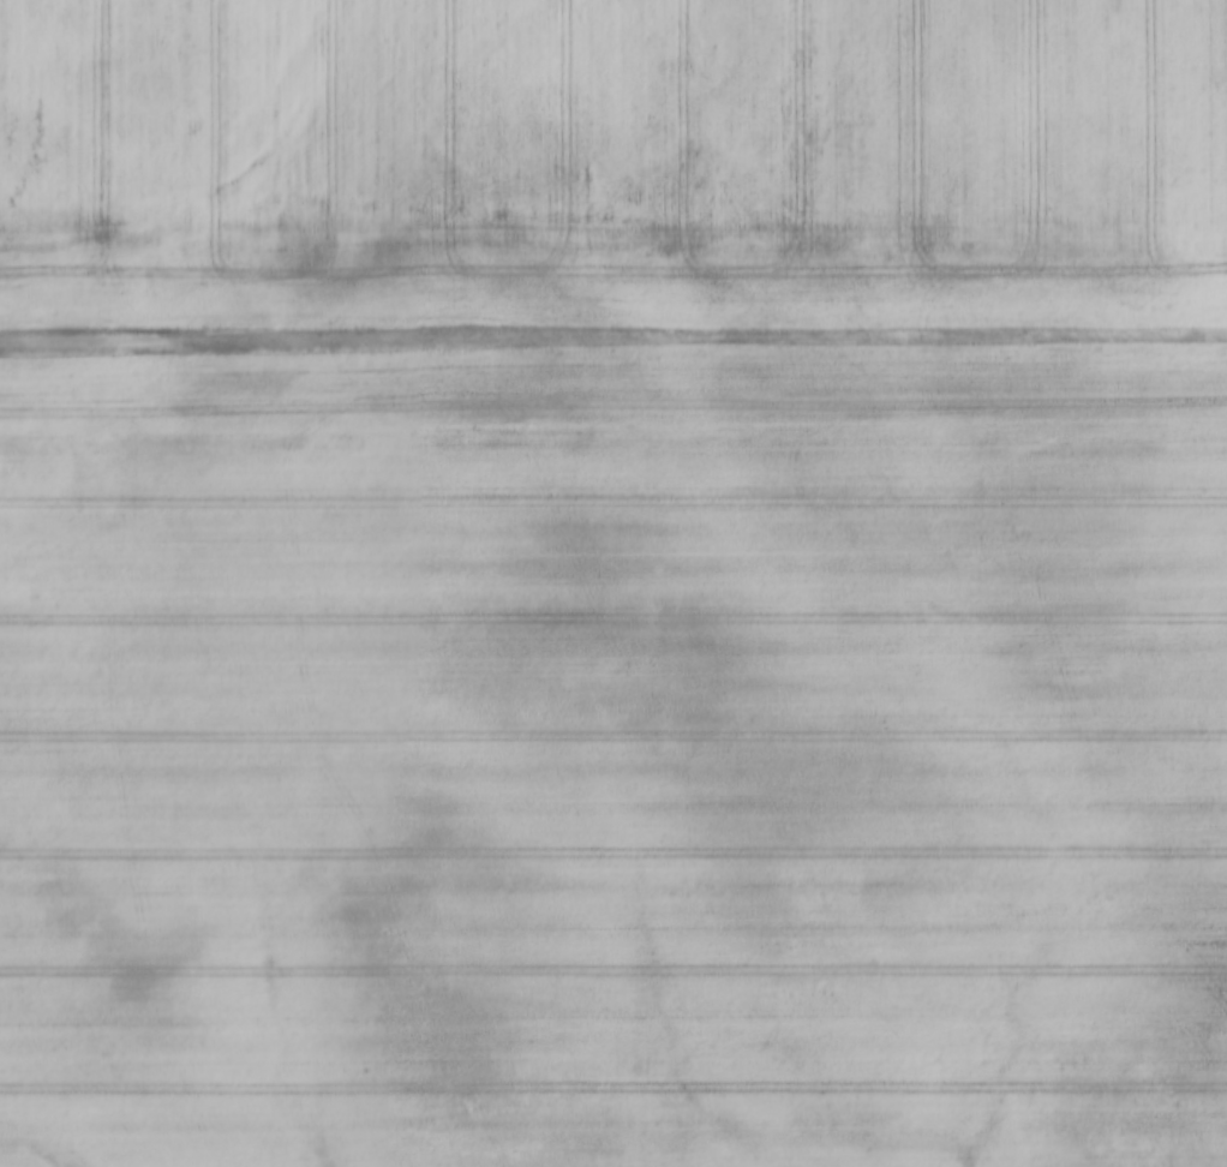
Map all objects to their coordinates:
road: (613, 327)

